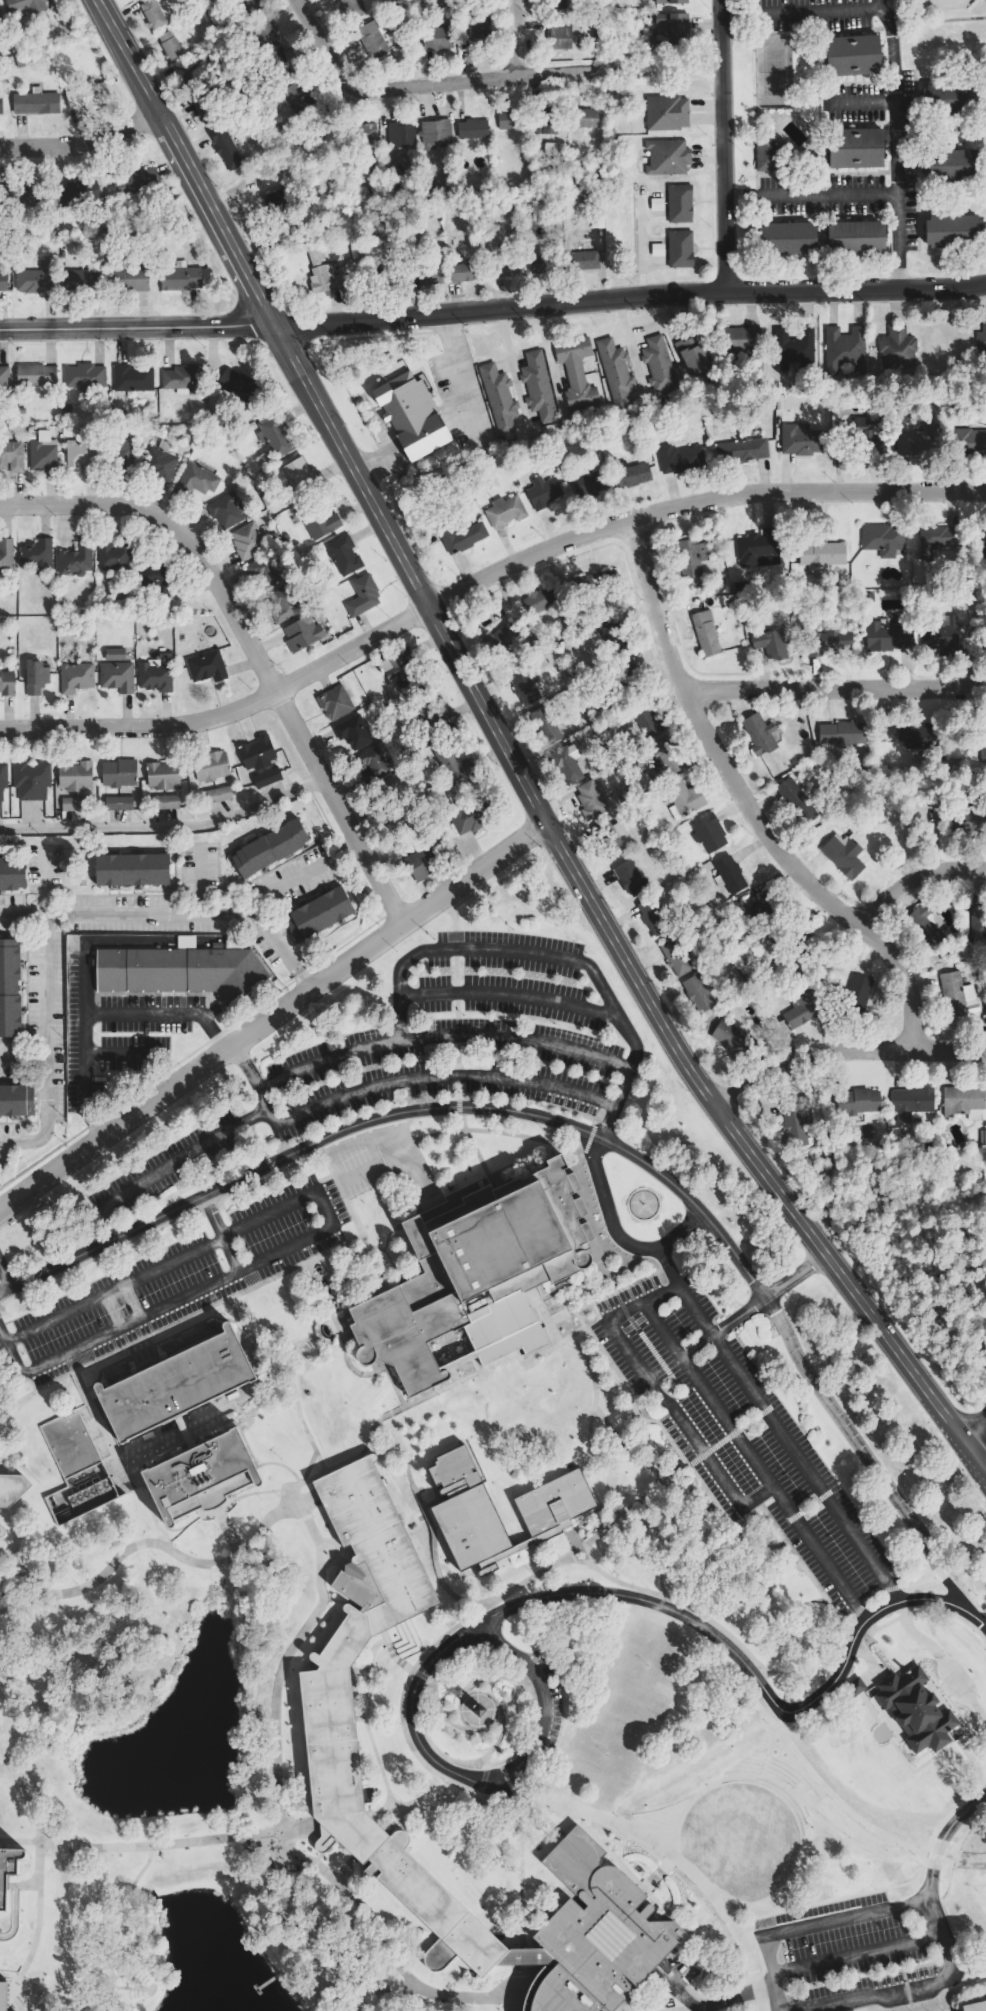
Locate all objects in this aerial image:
building: (668, 2)
building: (243, 3)
building: (24, 5)
building: (350, 10)
road: (802, 10)
building: (150, 14)
building: (1, 16)
building: (479, 28)
building: (265, 29)
building: (669, 29)
building: (560, 35)
building: (438, 37)
building: (373, 39)
building: (168, 47)
building: (848, 55)
building: (282, 59)
road: (518, 67)
building: (188, 72)
park: (771, 72)
road: (555, 74)
road: (356, 85)
building: (88, 94)
building: (946, 97)
building: (299, 98)
road: (862, 99)
building: (34, 103)
building: (2, 105)
building: (198, 108)
building: (662, 113)
building: (586, 117)
building: (507, 120)
building: (545, 122)
building: (472, 129)
building: (436, 132)
building: (364, 134)
building: (401, 134)
road: (895, 143)
road: (81, 145)
road: (726, 145)
building: (222, 147)
building: (850, 149)
building: (664, 156)
building: (763, 156)
building: (946, 165)
road: (188, 166)
road: (812, 190)
building: (75, 193)
building: (274, 204)
building: (676, 204)
building: (949, 231)
building: (852, 237)
building: (782, 238)
building: (676, 249)
building: (660, 250)
building: (578, 260)
building: (539, 264)
building: (503, 268)
building: (457, 273)
building: (320, 274)
building: (427, 275)
building: (183, 277)
building: (4, 278)
building: (387, 278)
building: (83, 279)
building: (136, 279)
building: (33, 281)
road: (636, 296)
road: (143, 328)
building: (980, 340)
building: (738, 345)
building: (791, 348)
building: (894, 348)
building: (842, 349)
building: (690, 353)
building: (656, 366)
building: (573, 372)
building: (612, 372)
building: (3, 375)
building: (34, 375)
building: (83, 375)
building: (181, 376)
building: (130, 378)
building: (238, 386)
building: (534, 387)
building: (495, 397)
building: (780, 402)
building: (408, 416)
building: (273, 435)
building: (863, 437)
building: (799, 439)
building: (916, 441)
building: (966, 441)
building: (119, 450)
building: (739, 450)
building: (80, 454)
building: (11, 456)
building: (41, 456)
building: (676, 457)
building: (159, 464)
building: (302, 475)
building: (629, 475)
building: (195, 479)
building: (586, 482)
building: (541, 492)
building: (224, 509)
building: (502, 511)
building: (317, 522)
building: (981, 536)
building: (457, 537)
building: (880, 539)
building: (935, 539)
building: (246, 540)
building: (756, 549)
building: (5, 554)
building: (341, 555)
building: (819, 555)
building: (35, 556)
building: (112, 556)
building: (688, 557)
building: (75, 558)
building: (261, 567)
road: (415, 575)
building: (153, 577)
road: (482, 578)
building: (593, 582)
building: (360, 595)
building: (540, 602)
building: (280, 603)
building: (702, 633)
building: (299, 634)
building: (888, 636)
building: (952, 638)
building: (830, 642)
building: (768, 644)
road: (246, 646)
building: (407, 650)
building: (203, 666)
building: (391, 668)
building: (114, 675)
building: (35, 676)
building: (73, 677)
building: (152, 677)
building: (6, 682)
building: (528, 687)
road: (833, 688)
building: (332, 702)
building: (422, 713)
building: (548, 726)
building: (350, 731)
building: (844, 733)
building: (756, 734)
building: (918, 736)
building: (664, 746)
building: (255, 753)
building: (445, 763)
building: (570, 764)
building: (209, 766)
building: (369, 766)
building: (117, 772)
building: (160, 774)
building: (73, 775)
building: (2, 777)
building: (265, 777)
building: (30, 780)
building: (216, 795)
building: (687, 797)
building: (593, 799)
building: (163, 801)
building: (798, 801)
building: (72, 803)
building: (117, 803)
road: (745, 805)
building: (465, 818)
building: (975, 820)
road: (165, 827)
building: (711, 833)
building: (618, 844)
building: (269, 848)
building: (847, 854)
building: (418, 863)
building: (131, 868)
building: (12, 873)
building: (733, 874)
building: (632, 878)
road: (913, 880)
road: (200, 881)
building: (760, 910)
building: (317, 913)
road: (187, 915)
building: (654, 917)
building: (968, 921)
building: (979, 925)
building: (928, 927)
road: (112, 940)
road: (276, 947)
road: (510, 951)
road: (45, 954)
building: (678, 957)
building: (179, 971)
building: (9, 987)
building: (861, 990)
building: (700, 993)
road: (506, 994)
building: (960, 995)
building: (801, 1012)
road: (273, 1014)
road: (98, 1015)
parking lot: (115, 1028)
road: (451, 1036)
building: (731, 1036)
parking lot: (431, 1050)
road: (121, 1051)
road: (844, 1052)
road: (422, 1078)
road: (43, 1097)
building: (15, 1099)
building: (863, 1101)
building: (966, 1102)
building: (914, 1103)
road: (436, 1107)
road: (573, 1112)
building: (796, 1122)
road: (589, 1138)
road: (569, 1147)
road: (581, 1151)
road: (750, 1154)
road: (166, 1164)
road: (207, 1211)
road: (617, 1234)
road: (310, 1235)
road: (101, 1253)
road: (668, 1266)
building: (469, 1268)
road: (275, 1274)
parking lot: (181, 1277)
road: (3, 1281)
road: (624, 1287)
road: (684, 1294)
road: (590, 1306)
road: (739, 1316)
road: (663, 1329)
building: (501, 1330)
road: (641, 1333)
road: (1, 1340)
road: (698, 1346)
road: (10, 1358)
building: (179, 1383)
road: (592, 1401)
road: (674, 1408)
road: (972, 1422)
road: (370, 1425)
road: (734, 1432)
parking lot: (739, 1433)
road: (866, 1460)
road: (802, 1461)
road: (984, 1461)
road: (637, 1462)
building: (76, 1468)
road: (281, 1468)
road: (304, 1468)
building: (205, 1475)
road: (307, 1479)
road: (698, 1484)
road: (769, 1484)
building: (12, 1488)
building: (552, 1513)
road: (306, 1526)
building: (2, 1530)
road: (430, 1532)
road: (659, 1544)
building: (376, 1547)
road: (326, 1549)
road: (3, 1554)
road: (188, 1559)
road: (26, 1570)
road: (939, 1573)
road: (456, 1575)
road: (918, 1584)
road: (894, 1588)
road: (896, 1594)
road: (875, 1597)
road: (656, 1603)
road: (860, 1610)
road: (907, 1613)
road: (953, 1614)
road: (863, 1615)
road: (853, 1618)
road: (853, 1622)
road: (884, 1624)
road: (721, 1627)
road: (861, 1627)
road: (394, 1654)
road: (941, 1659)
road: (870, 1660)
road: (422, 1674)
road: (769, 1675)
road: (493, 1676)
road: (762, 1684)
building: (855, 1685)
road: (482, 1691)
road: (542, 1691)
parking lot: (544, 1704)
building: (478, 1708)
building: (910, 1710)
road: (443, 1713)
building: (336, 1720)
road: (368, 1727)
road: (497, 1743)
road: (771, 1748)
road: (418, 1756)
park: (699, 1758)
road: (506, 1759)
road: (486, 1768)
road: (563, 1768)
road: (3, 1769)
road: (759, 1775)
road: (483, 1780)
road: (824, 1785)
road: (480, 1793)
road: (412, 1802)
road: (27, 1803)
road: (427, 1806)
road: (664, 1815)
road: (281, 1828)
road: (942, 1837)
road: (934, 1856)
road: (37, 1866)
building: (8, 1869)
road: (520, 1875)
road: (871, 1890)
building: (419, 1892)
road: (927, 1899)
road: (12, 1914)
building: (592, 1934)
parking lot: (841, 1938)
road: (32, 1941)
road: (379, 1948)
road: (857, 1953)
road: (521, 1954)
road: (518, 1986)
road: (758, 1989)
parking lot: (867, 1989)
road: (29, 1992)
road: (959, 1993)
building: (5, 1995)
road: (762, 2004)
road: (710, 2005)
road: (922, 2005)
building: (974, 2006)
road: (864, 2010)

